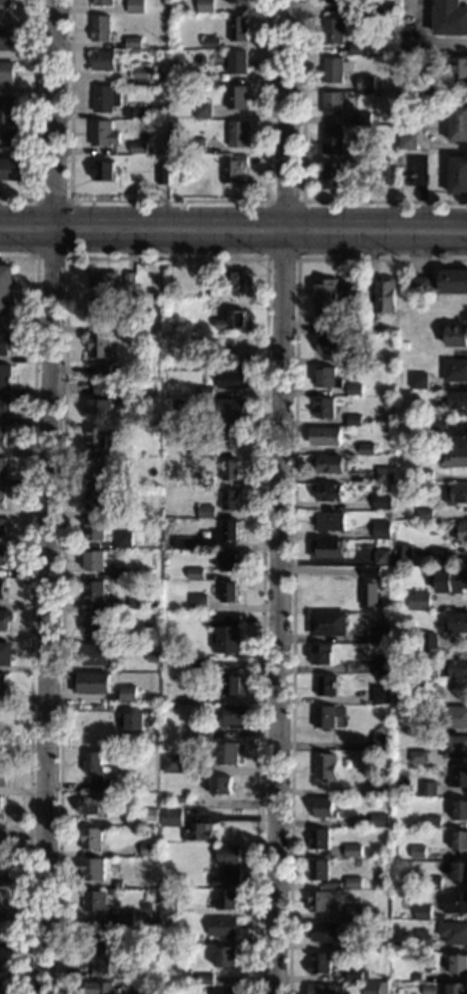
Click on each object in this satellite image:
building: (237, 1)
building: (338, 1)
building: (102, 2)
building: (211, 6)
building: (5, 7)
building: (135, 7)
building: (383, 10)
building: (450, 18)
building: (99, 28)
building: (238, 28)
building: (333, 31)
building: (6, 39)
road: (425, 40)
building: (132, 42)
building: (211, 42)
building: (409, 44)
building: (357, 49)
building: (102, 60)
building: (236, 62)
building: (335, 69)
building: (457, 69)
building: (6, 72)
building: (144, 75)
building: (209, 77)
building: (365, 83)
building: (427, 90)
building: (236, 97)
building: (104, 98)
building: (332, 103)
building: (423, 104)
building: (7, 108)
building: (202, 111)
building: (135, 112)
road: (35, 117)
building: (362, 118)
building: (458, 122)
building: (102, 133)
building: (238, 133)
building: (11, 138)
building: (332, 140)
building: (408, 141)
building: (197, 146)
building: (138, 147)
building: (1, 150)
building: (364, 151)
building: (406, 156)
building: (11, 169)
building: (233, 169)
building: (102, 170)
building: (162, 175)
building: (332, 175)
building: (458, 175)
building: (388, 176)
road: (303, 182)
road: (69, 200)
road: (168, 200)
road: (298, 202)
road: (233, 218)
road: (233, 237)
road: (166, 258)
building: (110, 281)
building: (233, 281)
building: (454, 281)
building: (418, 285)
building: (213, 288)
building: (357, 289)
building: (6, 290)
building: (326, 294)
building: (386, 295)
building: (210, 304)
building: (97, 311)
building: (346, 313)
building: (232, 320)
building: (322, 325)
building: (123, 326)
building: (373, 326)
building: (457, 336)
building: (5, 343)
building: (332, 344)
building: (405, 345)
building: (100, 347)
building: (190, 351)
building: (235, 359)
building: (353, 360)
building: (103, 368)
building: (455, 370)
building: (5, 375)
building: (327, 378)
building: (233, 380)
building: (419, 380)
building: (103, 388)
building: (354, 389)
building: (204, 392)
building: (458, 401)
building: (5, 405)
building: (234, 408)
building: (324, 408)
building: (100, 410)
building: (408, 412)
building: (353, 420)
building: (167, 421)
building: (408, 423)
building: (438, 425)
building: (369, 430)
building: (460, 435)
building: (325, 436)
building: (3, 437)
building: (97, 438)
building: (232, 438)
building: (198, 448)
building: (367, 448)
building: (126, 450)
building: (457, 458)
building: (115, 460)
building: (328, 464)
building: (3, 468)
building: (96, 469)
building: (231, 470)
building: (385, 475)
building: (424, 476)
building: (120, 481)
building: (206, 481)
building: (400, 487)
building: (330, 493)
building: (457, 494)
road: (52, 496)
road: (283, 497)
building: (3, 498)
building: (231, 499)
building: (96, 500)
building: (382, 501)
building: (123, 512)
building: (207, 512)
building: (387, 513)
building: (424, 514)
building: (330, 521)
building: (2, 527)
building: (95, 529)
building: (381, 529)
building: (228, 531)
building: (461, 532)
building: (124, 539)
road: (293, 541)
building: (185, 544)
building: (327, 549)
building: (403, 552)
building: (381, 556)
building: (3, 557)
building: (95, 560)
building: (230, 561)
building: (371, 572)
building: (123, 573)
building: (196, 573)
building: (451, 582)
building: (3, 589)
building: (94, 591)
building: (230, 592)
building: (369, 597)
building: (418, 600)
building: (198, 602)
building: (136, 603)
road: (32, 607)
building: (5, 620)
building: (93, 623)
building: (327, 623)
building: (456, 623)
building: (226, 632)
building: (383, 634)
building: (429, 645)
building: (5, 653)
building: (97, 654)
building: (320, 654)
building: (154, 657)
building: (380, 663)
building: (198, 664)
building: (187, 666)
building: (453, 667)
building: (342, 680)
building: (3, 683)
building: (92, 683)
building: (232, 685)
building: (325, 685)
building: (414, 687)
building: (128, 693)
building: (380, 694)
building: (396, 699)
building: (156, 711)
building: (234, 714)
building: (327, 716)
building: (454, 717)
building: (136, 721)
building: (418, 727)
building: (203, 732)
building: (190, 734)
building: (381, 741)
building: (454, 747)
building: (227, 753)
building: (364, 756)
building: (417, 757)
building: (172, 764)
building: (324, 765)
building: (97, 770)
building: (2, 775)
building: (458, 777)
building: (221, 785)
building: (379, 787)
building: (428, 789)
building: (182, 800)
building: (0, 802)
building: (197, 802)
building: (94, 805)
building: (321, 808)
building: (460, 809)
building: (148, 815)
building: (171, 818)
building: (378, 820)
building: (431, 822)
building: (197, 832)
building: (91, 838)
building: (319, 839)
building: (459, 840)
building: (394, 848)
building: (149, 849)
building: (352, 851)
building: (418, 852)
building: (0, 856)
building: (228, 865)
building: (93, 869)
building: (318, 870)
building: (459, 871)
building: (353, 882)
building: (432, 883)
building: (115, 884)
building: (161, 892)
building: (228, 898)
building: (95, 901)
building: (318, 901)
building: (455, 903)
building: (168, 906)
building: (354, 911)
building: (422, 912)
building: (125, 918)
building: (155, 918)
building: (222, 927)
building: (322, 931)
building: (1, 932)
building: (453, 932)
building: (364, 941)
building: (420, 941)
building: (354, 943)
building: (393, 947)
building: (225, 956)
building: (97, 958)
building: (319, 963)
building: (458, 964)
building: (1, 966)
building: (354, 975)
building: (415, 976)
building: (204, 978)
building: (0, 986)
building: (100, 987)
building: (375, 988)
building: (325, 989)
building: (456, 989)
building: (223, 990)

